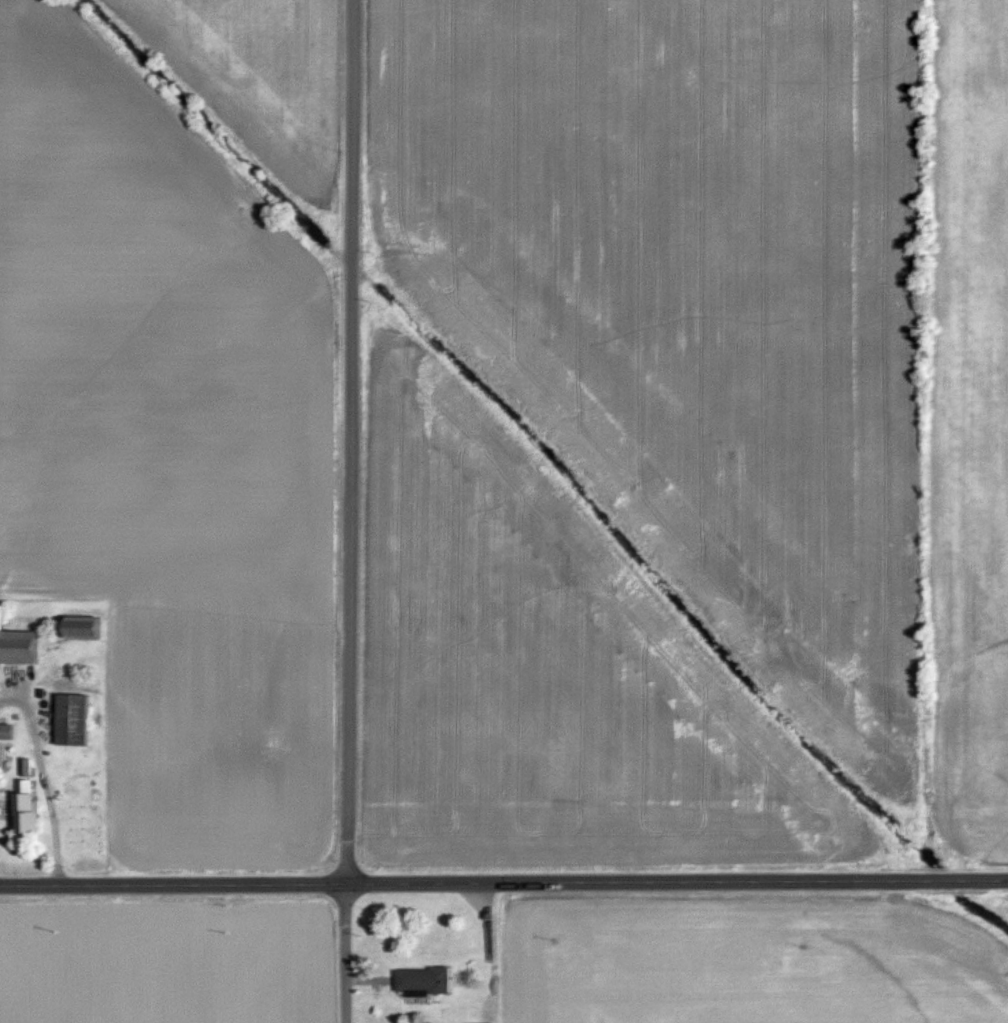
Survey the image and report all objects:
road: (349, 511)
building: (93, 629)
building: (23, 644)
building: (80, 719)
building: (9, 731)
road: (45, 780)
building: (33, 808)
road: (504, 884)
building: (426, 983)

